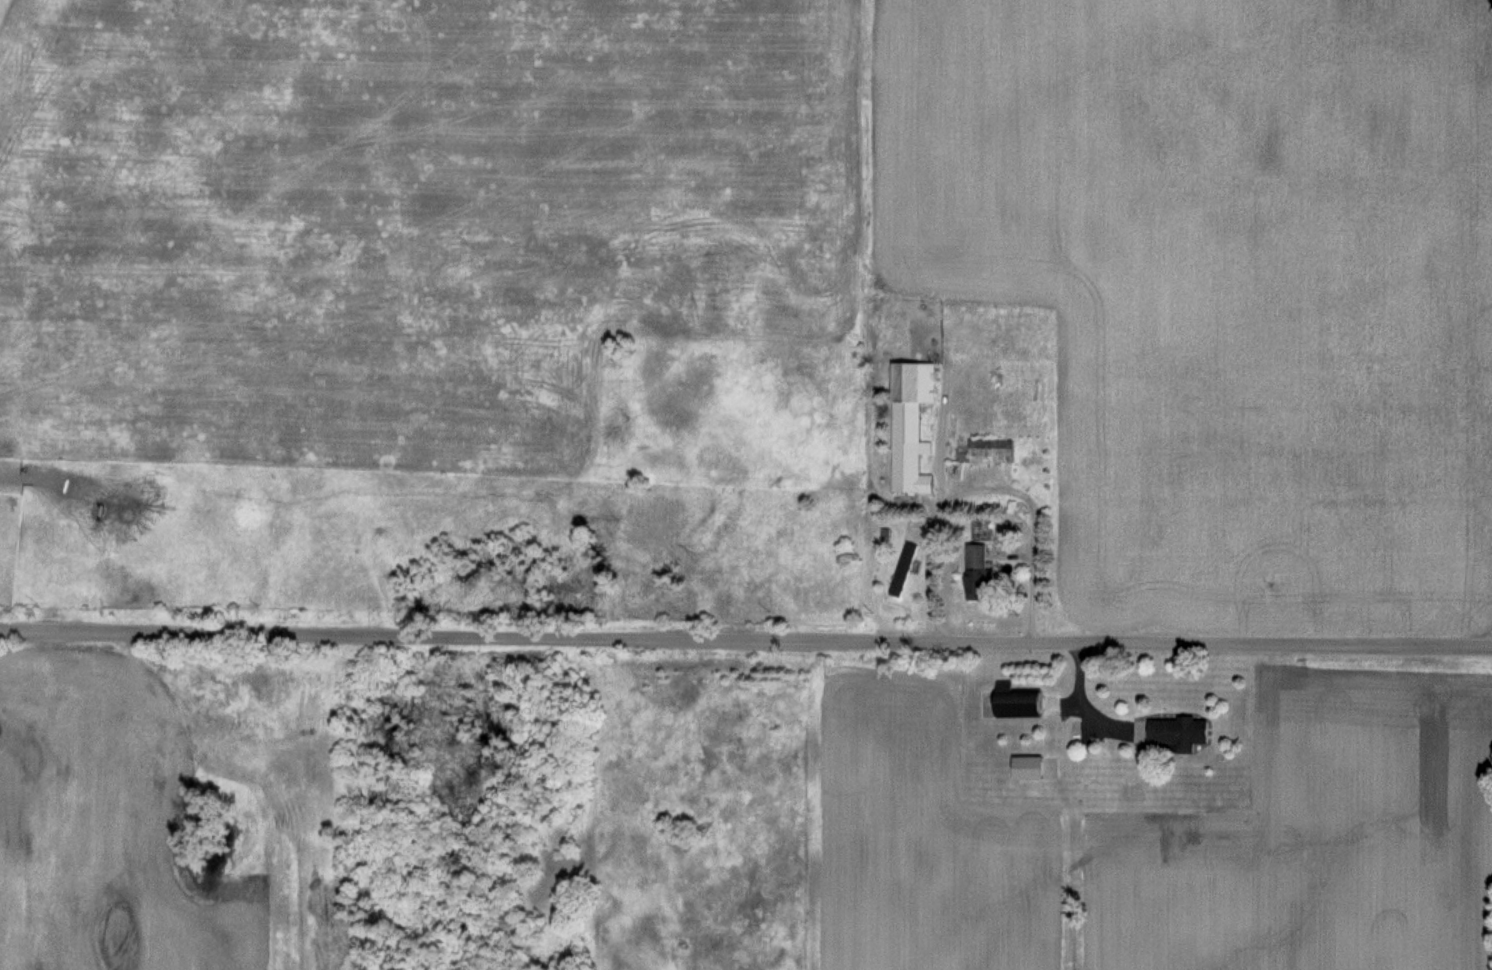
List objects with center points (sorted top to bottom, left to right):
building: (913, 426)
building: (993, 451)
road: (983, 488)
building: (984, 530)
building: (903, 569)
building: (981, 571)
road: (746, 633)
building: (1022, 702)
road: (1078, 704)
building: (1184, 733)
building: (1030, 768)

